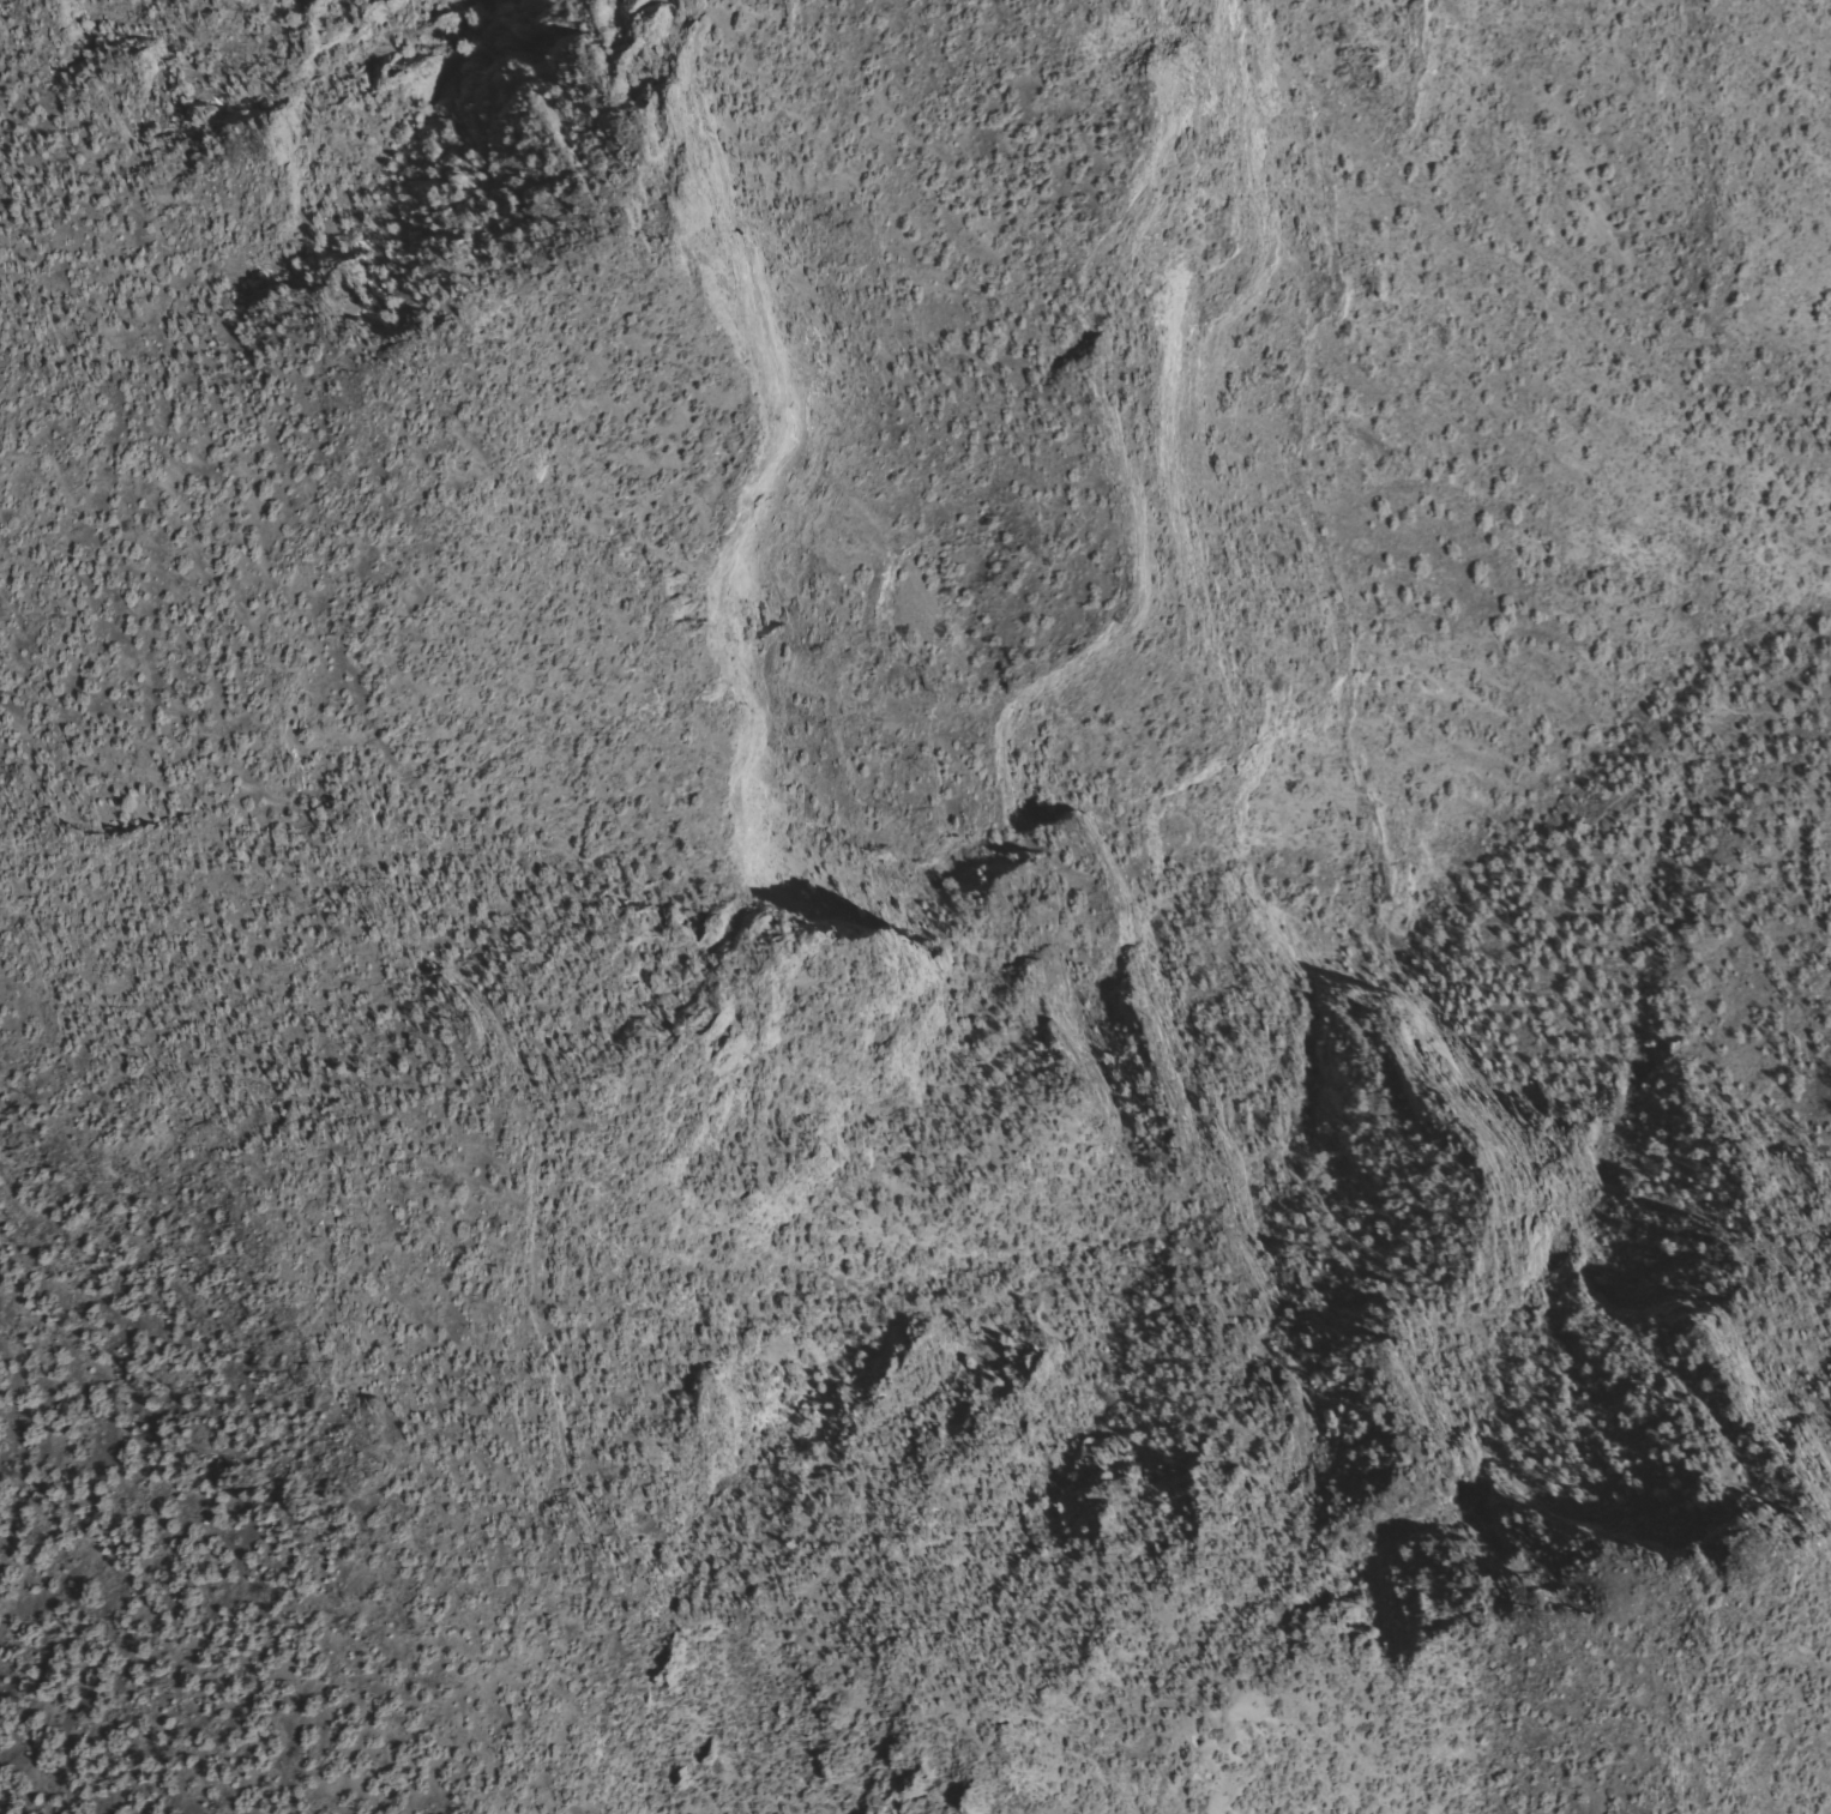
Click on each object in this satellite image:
road: (1572, 851)

